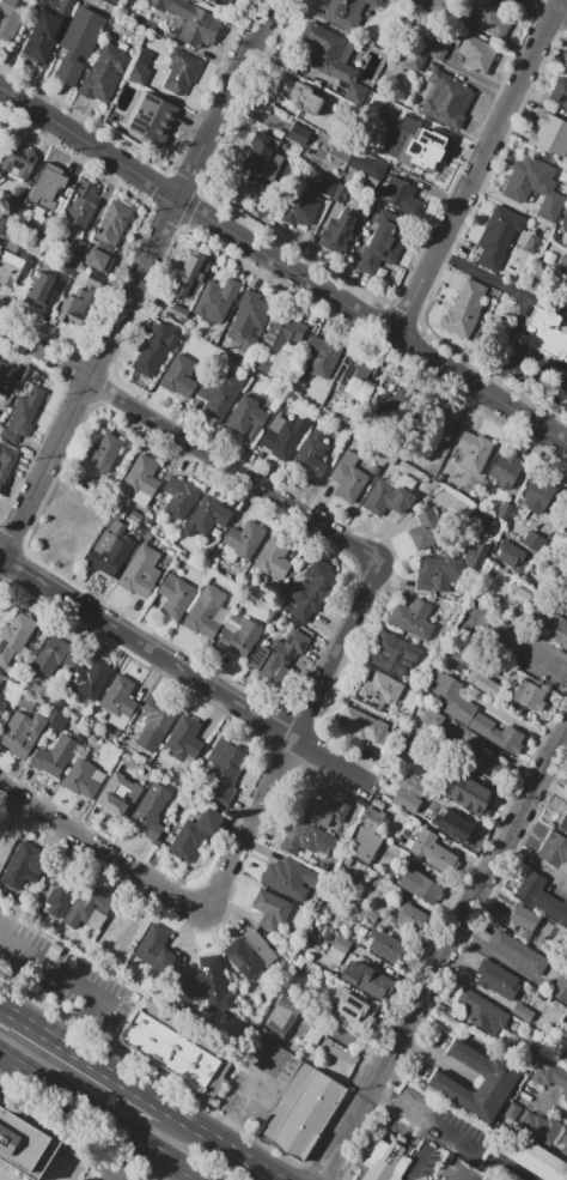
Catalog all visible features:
building: (112, 1)
building: (214, 2)
building: (511, 2)
building: (437, 5)
building: (65, 7)
road: (562, 12)
building: (346, 13)
building: (488, 19)
building: (8, 20)
building: (193, 22)
building: (43, 37)
building: (78, 46)
building: (437, 49)
building: (328, 50)
building: (478, 54)
building: (140, 67)
building: (566, 68)
building: (105, 72)
building: (182, 72)
building: (300, 95)
building: (560, 95)
building: (447, 99)
building: (152, 119)
building: (299, 134)
building: (548, 134)
building: (421, 151)
building: (258, 155)
building: (358, 159)
building: (18, 163)
road: (478, 167)
building: (534, 184)
building: (327, 186)
building: (48, 187)
building: (396, 193)
building: (13, 204)
building: (81, 205)
building: (301, 207)
building: (114, 224)
building: (5, 225)
building: (565, 225)
building: (335, 231)
building: (498, 237)
building: (382, 247)
building: (77, 248)
building: (97, 260)
building: (11, 261)
building: (68, 265)
road: (282, 265)
building: (565, 277)
building: (183, 282)
road: (135, 283)
building: (42, 288)
building: (215, 302)
building: (83, 303)
building: (464, 305)
building: (248, 320)
building: (545, 333)
building: (283, 334)
building: (153, 350)
building: (322, 356)
building: (6, 377)
building: (179, 377)
building: (354, 377)
building: (220, 392)
building: (392, 405)
building: (25, 411)
building: (248, 414)
building: (0, 416)
building: (444, 425)
building: (283, 435)
road: (191, 446)
building: (474, 450)
building: (313, 453)
building: (102, 456)
building: (6, 461)
building: (506, 470)
building: (144, 474)
building: (348, 478)
building: (537, 495)
building: (177, 497)
building: (388, 498)
building: (505, 510)
building: (209, 514)
building: (484, 518)
building: (426, 532)
building: (245, 539)
building: (534, 541)
building: (110, 547)
building: (477, 550)
building: (507, 552)
building: (274, 558)
building: (522, 564)
building: (144, 571)
building: (438, 571)
building: (315, 588)
building: (522, 588)
building: (176, 598)
building: (285, 607)
building: (206, 612)
building: (270, 616)
building: (413, 618)
building: (556, 631)
building: (239, 636)
building: (14, 637)
building: (390, 650)
building: (286, 652)
building: (54, 655)
building: (545, 668)
road: (185, 670)
building: (1, 677)
building: (90, 679)
building: (482, 682)
building: (378, 689)
building: (530, 695)
building: (118, 697)
building: (1, 706)
building: (474, 714)
building: (431, 718)
building: (153, 720)
building: (361, 725)
building: (22, 732)
building: (184, 737)
road: (292, 739)
road: (566, 740)
building: (410, 746)
building: (55, 756)
building: (486, 764)
building: (224, 770)
building: (83, 779)
building: (120, 780)
building: (408, 794)
building: (471, 794)
building: (150, 811)
building: (325, 812)
building: (374, 815)
building: (563, 822)
park: (8, 825)
building: (457, 827)
building: (195, 833)
building: (306, 837)
building: (365, 845)
building: (554, 848)
building: (433, 851)
road: (104, 852)
building: (23, 864)
building: (291, 877)
building: (421, 885)
building: (61, 891)
building: (542, 897)
building: (90, 903)
building: (272, 909)
building: (370, 915)
building: (411, 916)
building: (524, 918)
building: (151, 944)
building: (341, 944)
building: (385, 945)
building: (517, 952)
building: (250, 954)
road: (441, 958)
building: (163, 964)
building: (323, 978)
road: (73, 979)
building: (366, 979)
building: (499, 979)
building: (208, 984)
building: (561, 987)
building: (66, 996)
building: (480, 1010)
building: (349, 1013)
building: (522, 1013)
building: (283, 1015)
road: (44, 1034)
building: (313, 1037)
building: (181, 1049)
building: (551, 1076)
building: (499, 1081)
road: (96, 1085)
road: (248, 1097)
road: (403, 1107)
building: (303, 1112)
road: (96, 1120)
road: (184, 1121)
building: (537, 1125)
road: (80, 1127)
road: (459, 1139)
building: (30, 1142)
building: (563, 1145)
building: (528, 1151)
road: (422, 1154)
building: (386, 1160)
road: (514, 1169)
road: (465, 1178)
building: (85, 1179)

